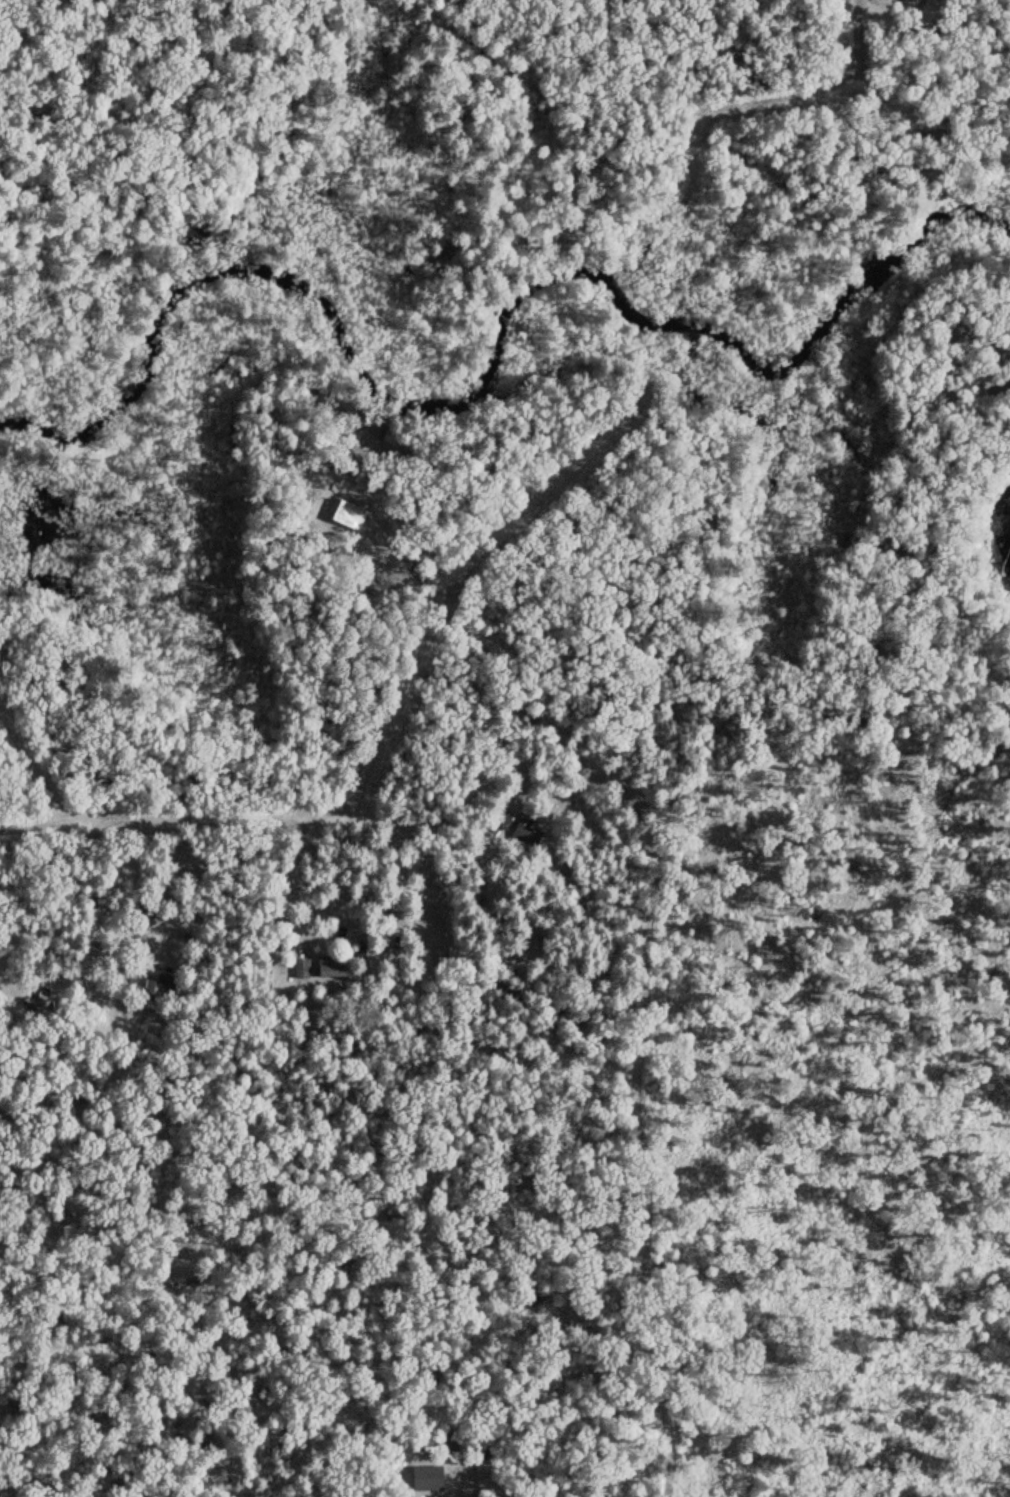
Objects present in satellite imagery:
building: (913, 1)
road: (843, 34)
river: (494, 362)
road: (314, 938)
building: (331, 967)
road: (564, 1050)
road: (396, 1273)

